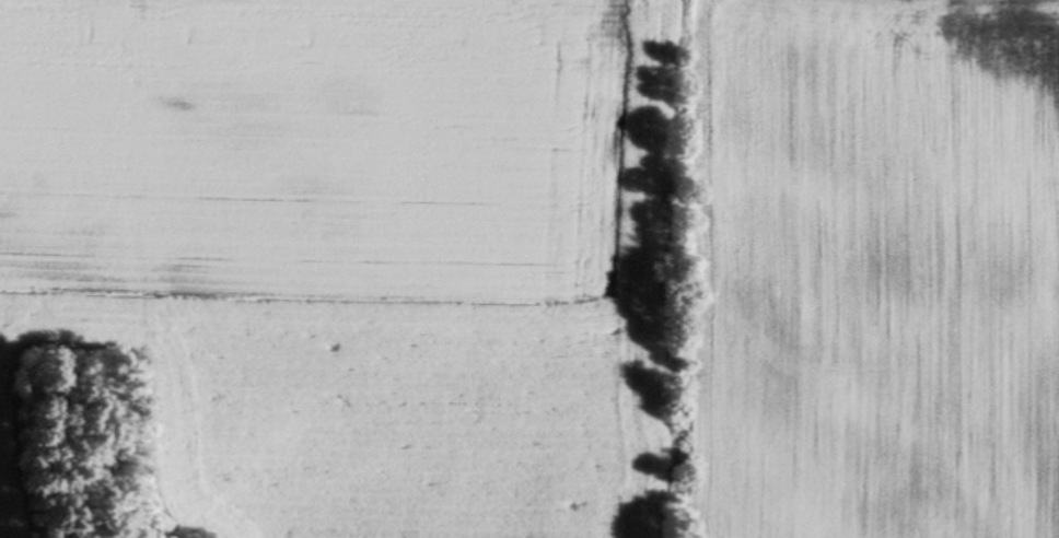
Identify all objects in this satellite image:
crop: (869, 269)

